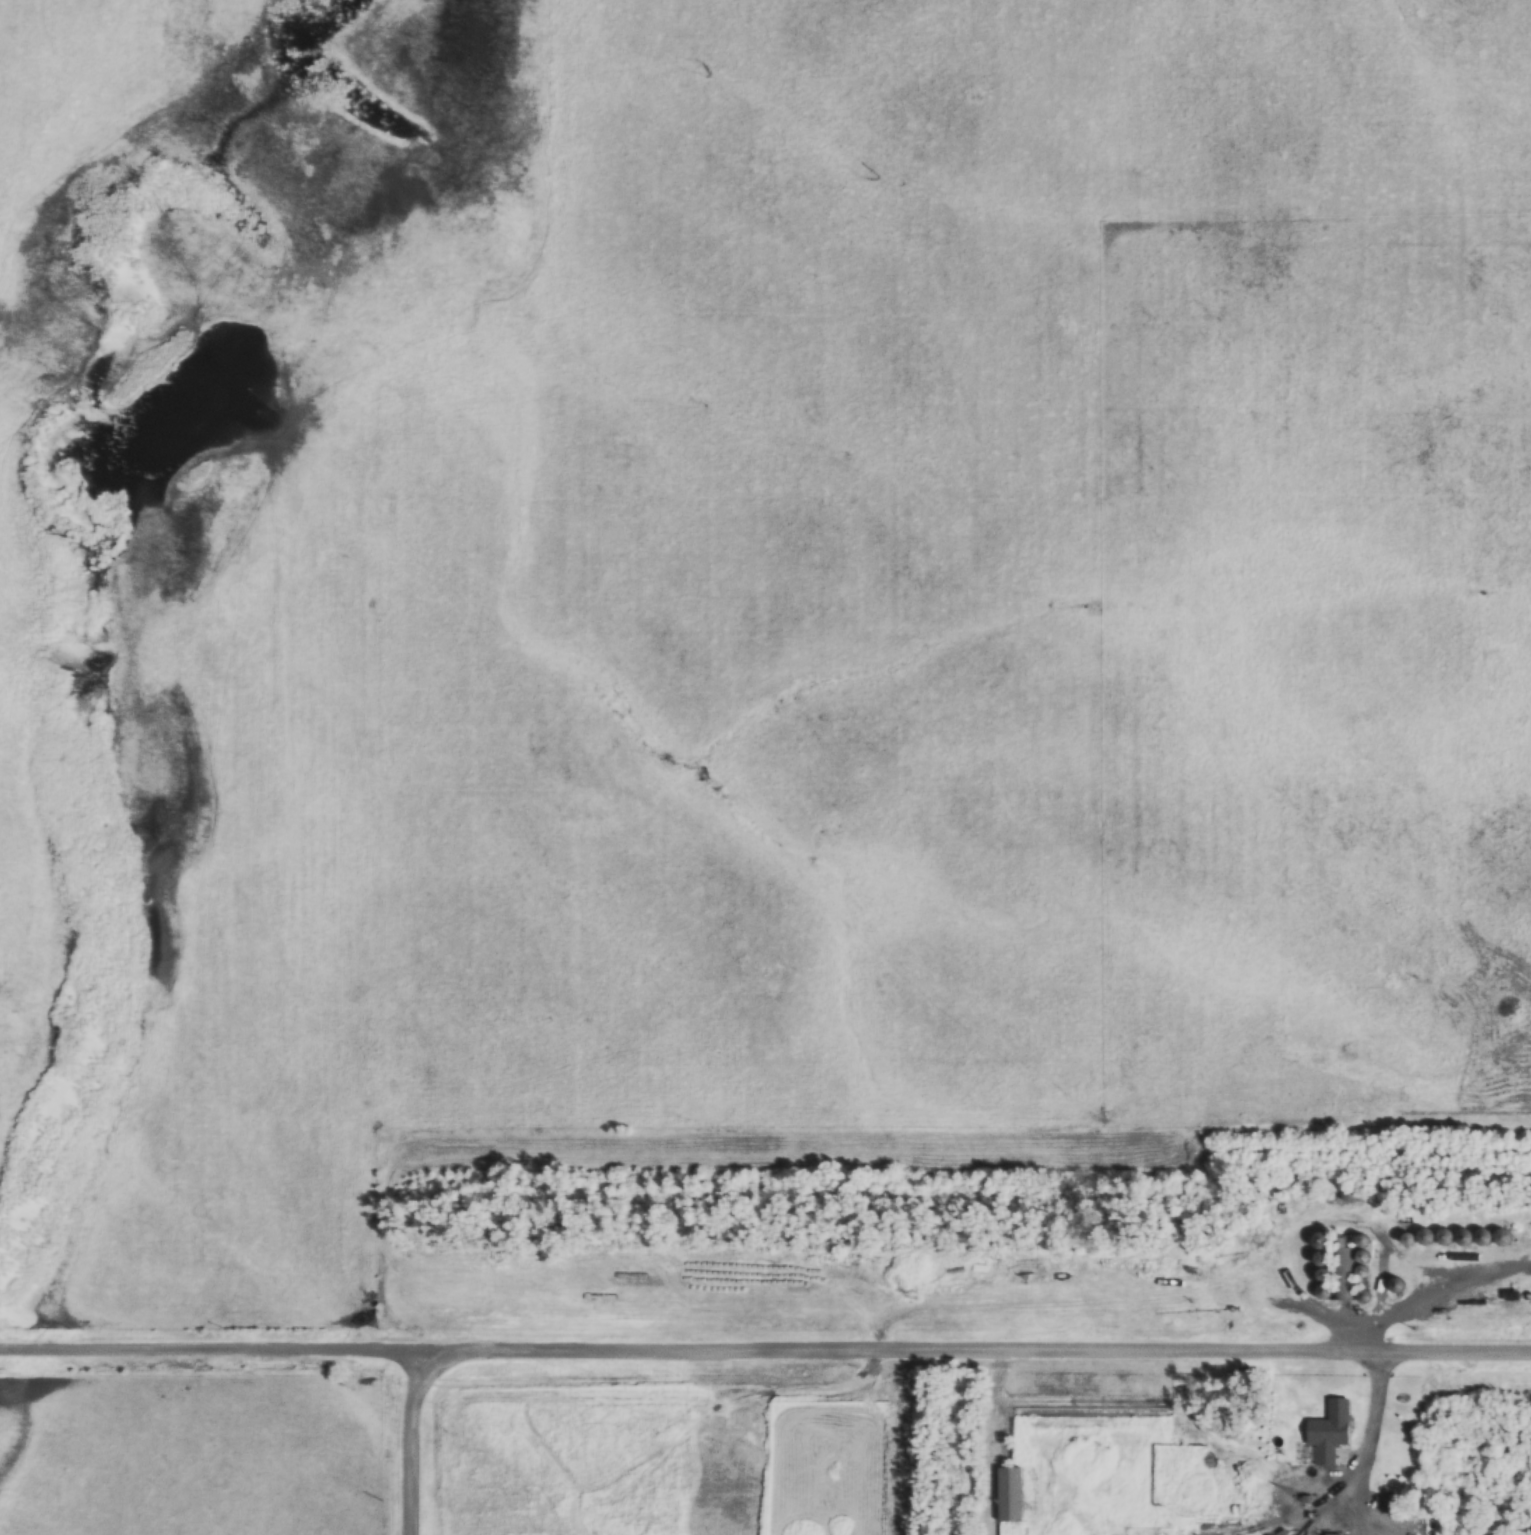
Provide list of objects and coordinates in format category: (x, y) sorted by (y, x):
building: (1351, 1194)
building: (1447, 1238)
building: (1334, 1266)
building: (1364, 1274)
building: (1398, 1286)
road: (1419, 1299)
road: (1379, 1324)
road: (765, 1350)
road: (1173, 1416)
building: (1327, 1438)
road: (1364, 1439)
road: (413, 1443)
building: (1396, 1467)
road: (1296, 1473)
building: (1010, 1495)
building: (1293, 1495)
building: (1389, 1504)
road: (1370, 1527)
building: (1332, 1534)

